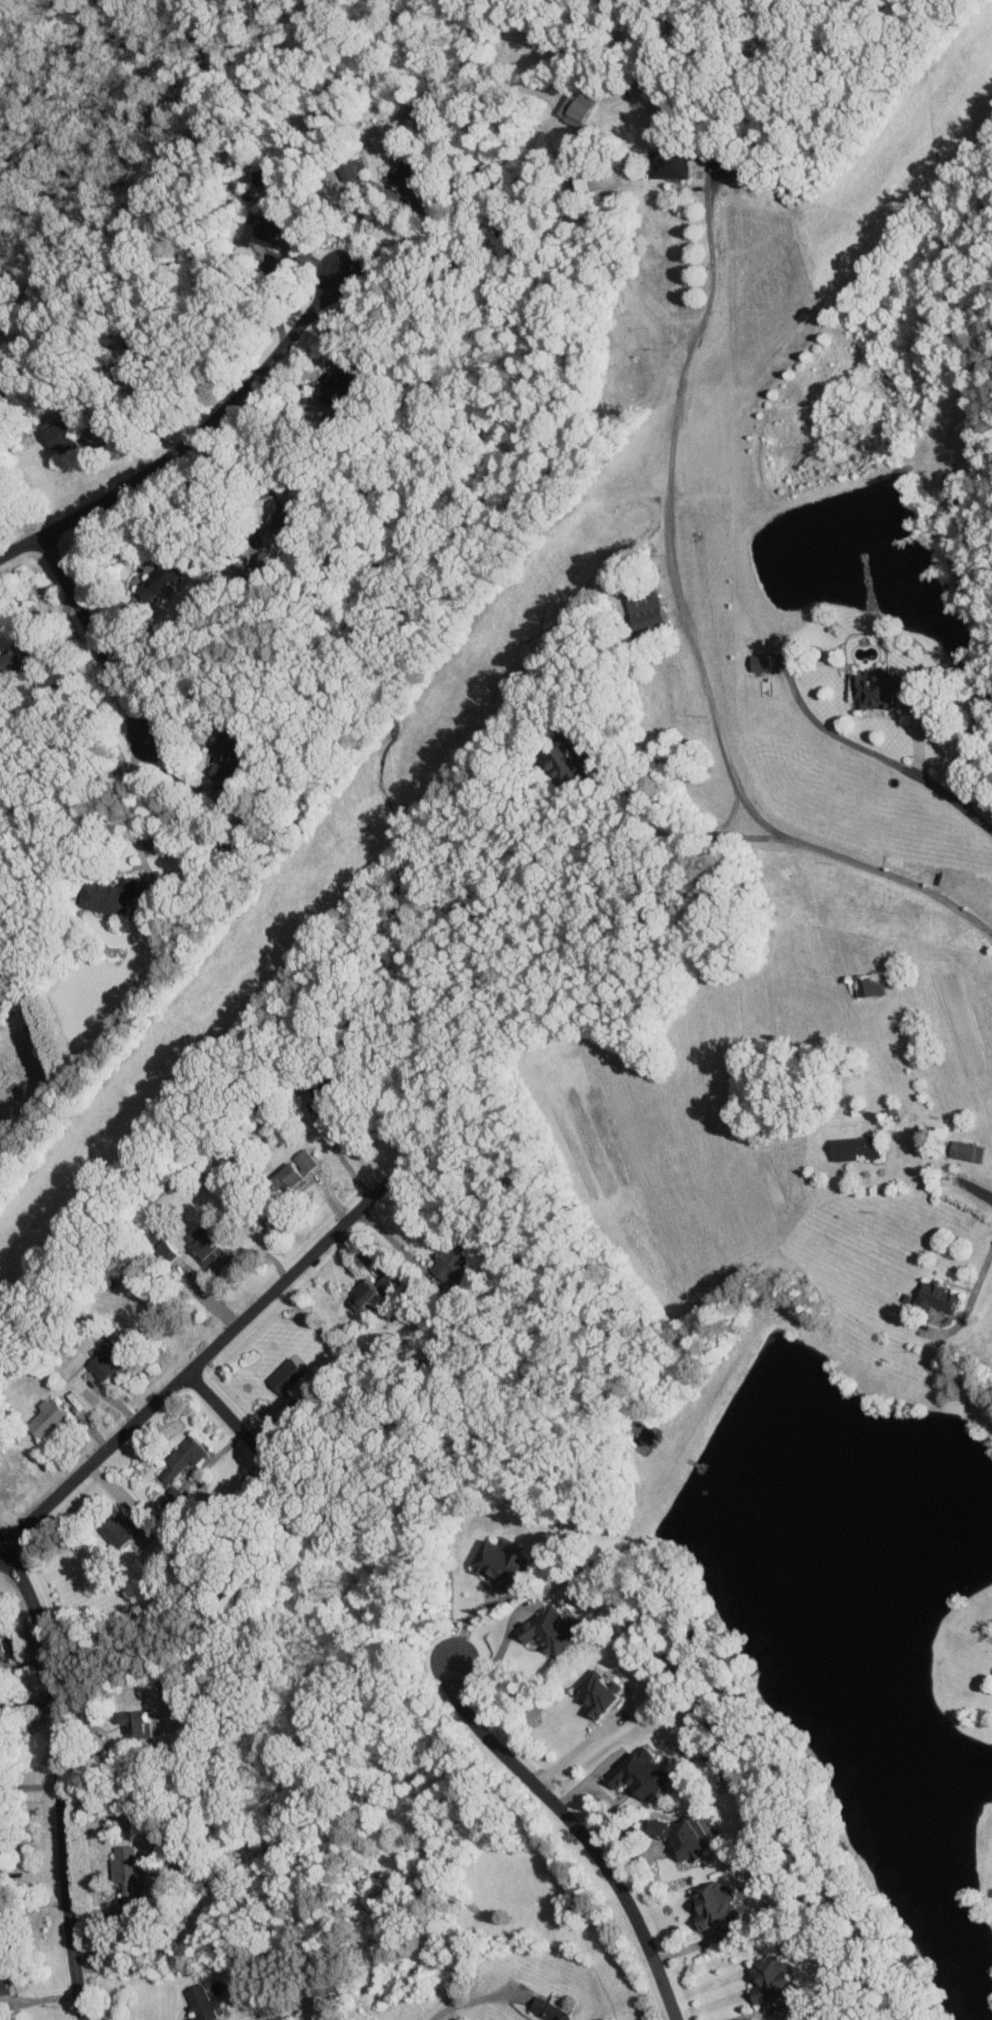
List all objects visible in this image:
building: (576, 110)
building: (666, 167)
building: (349, 168)
building: (260, 176)
building: (402, 182)
road: (429, 210)
building: (259, 233)
road: (323, 372)
building: (57, 438)
road: (191, 438)
road: (272, 483)
building: (279, 519)
road: (667, 519)
building: (152, 580)
building: (643, 609)
road: (94, 637)
building: (13, 658)
building: (758, 661)
building: (872, 689)
building: (222, 758)
building: (563, 762)
road: (957, 801)
road: (130, 810)
road: (656, 812)
road: (729, 815)
road: (746, 836)
road: (892, 873)
building: (108, 895)
building: (866, 984)
building: (850, 1147)
building: (964, 1150)
road: (341, 1156)
building: (290, 1171)
road: (989, 1197)
building: (200, 1244)
building: (449, 1260)
road: (979, 1276)
building: (359, 1294)
building: (933, 1297)
road: (206, 1355)
building: (104, 1359)
building: (284, 1377)
building: (43, 1419)
road: (234, 1424)
building: (181, 1458)
building: (116, 1530)
road: (1, 1550)
building: (494, 1563)
road: (473, 1612)
building: (548, 1632)
road: (500, 1652)
building: (1, 1653)
building: (594, 1693)
building: (135, 1724)
road: (572, 1752)
building: (634, 1776)
road: (59, 1778)
road: (575, 1830)
building: (678, 1836)
building: (122, 1871)
building: (709, 1905)
building: (767, 1977)
building: (4, 1987)
road: (464, 2001)
building: (201, 2004)
building: (546, 2009)
road: (753, 2013)

